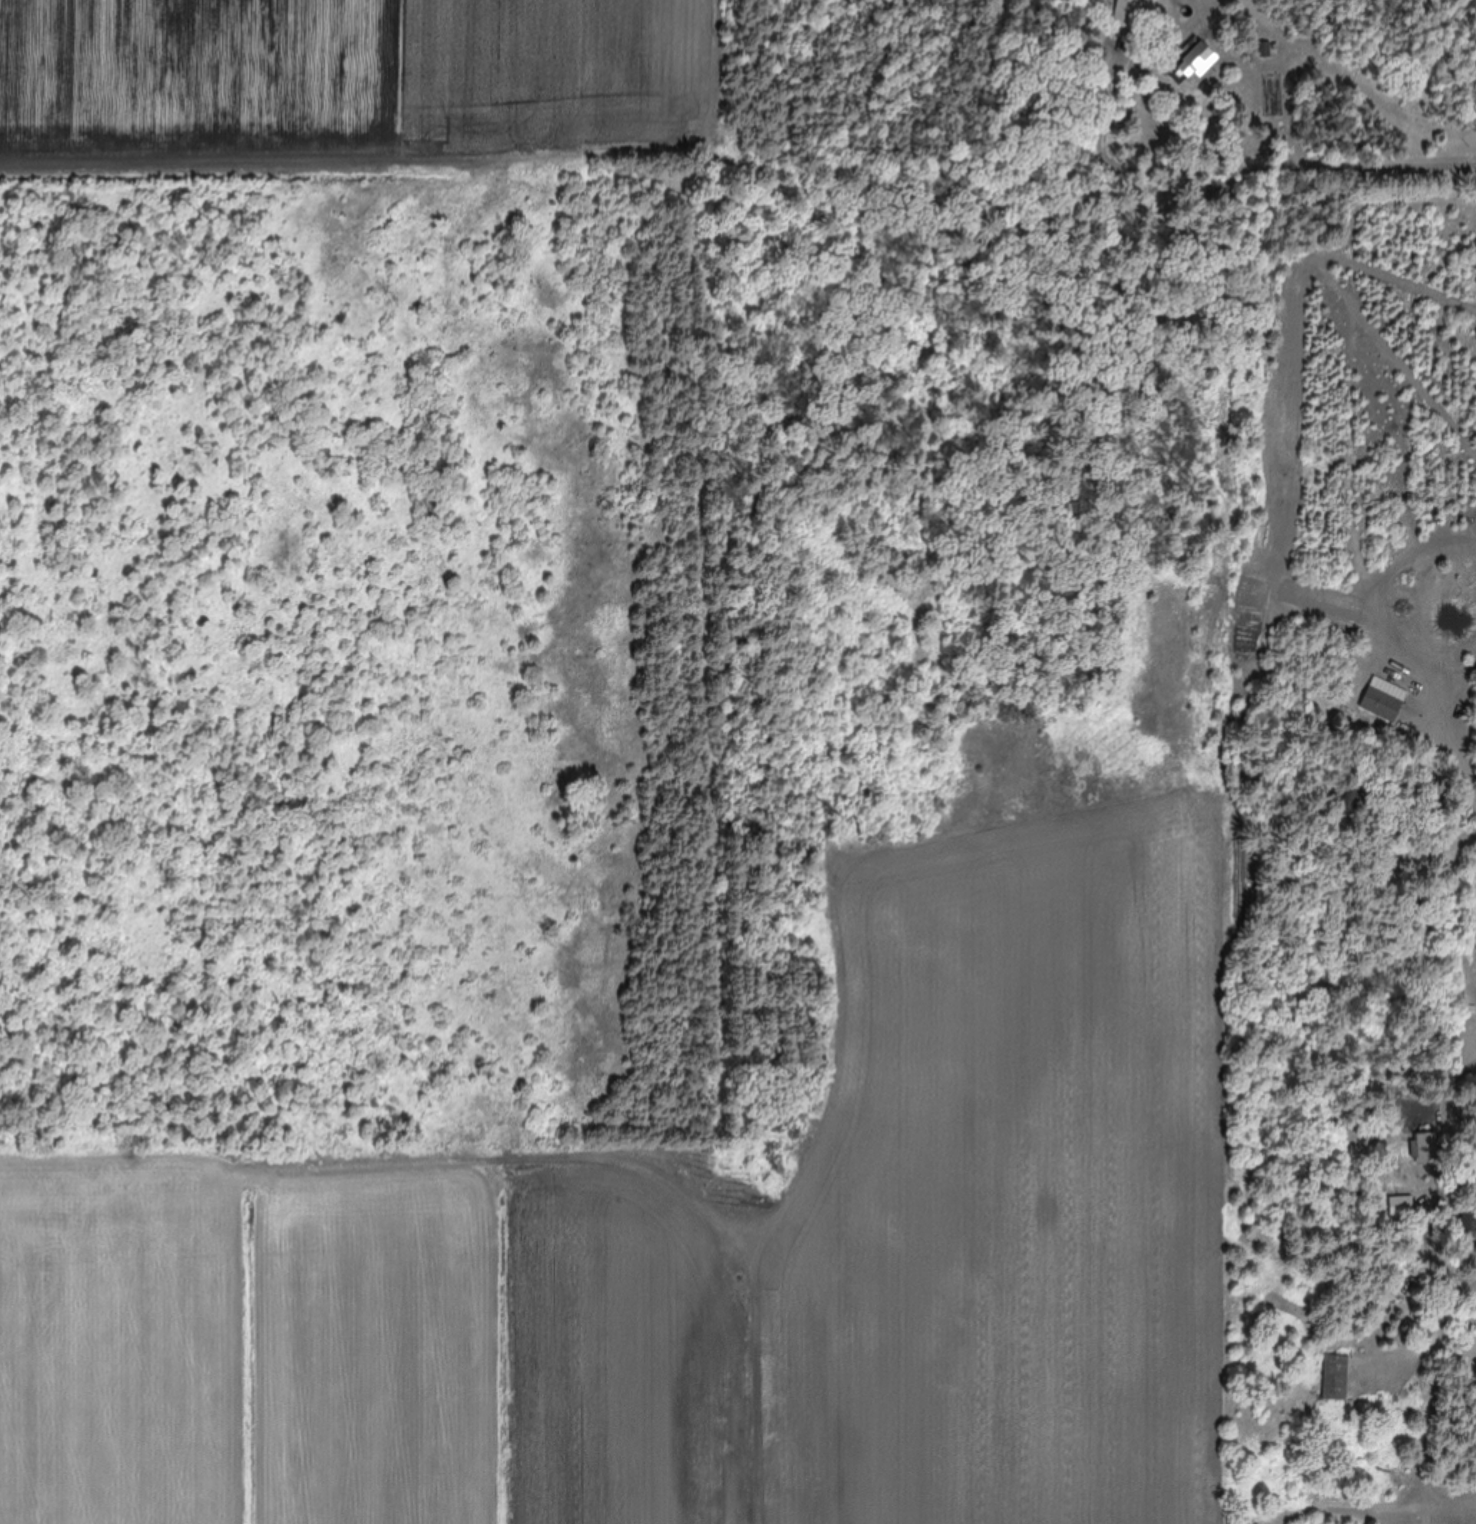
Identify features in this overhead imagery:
building: (1267, 49)
building: (1193, 59)
road: (1338, 106)
building: (1380, 705)
building: (1349, 803)
road: (1466, 938)
building: (1423, 1148)
building: (1468, 1225)
road: (1429, 1229)
road: (1437, 1375)
building: (1334, 1379)

